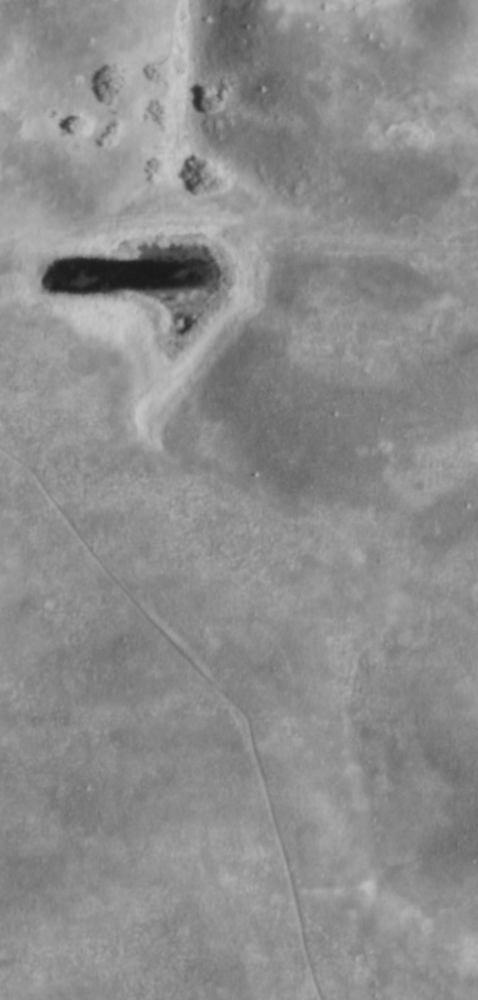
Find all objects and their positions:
road: (466, 811)
road: (459, 976)

